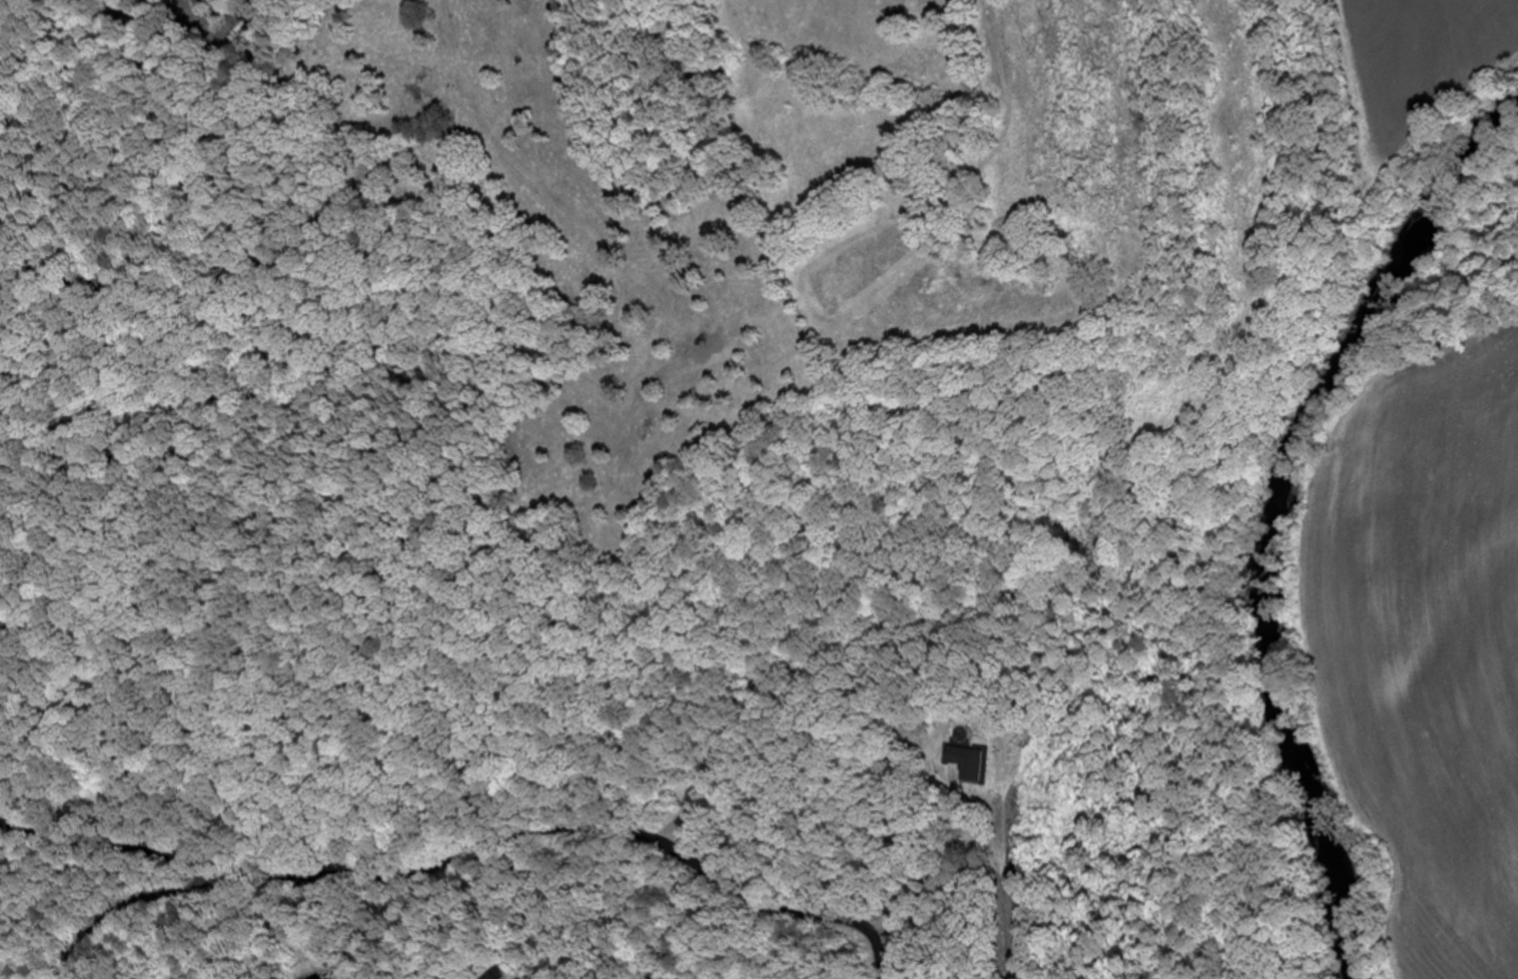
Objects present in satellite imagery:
road: (466, 856)

